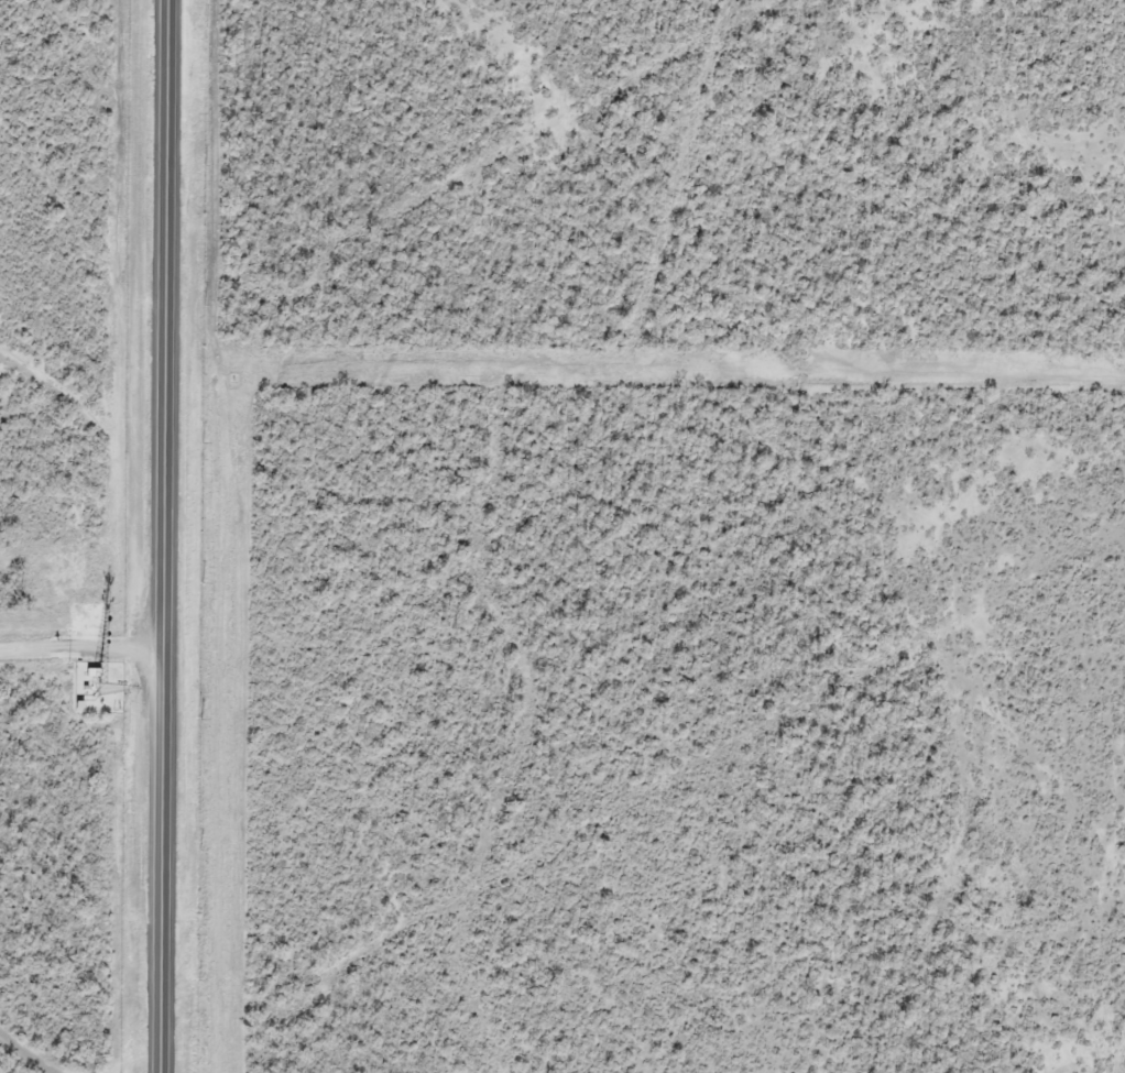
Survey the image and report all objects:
road: (168, 536)
road: (84, 650)
road: (22, 1055)

